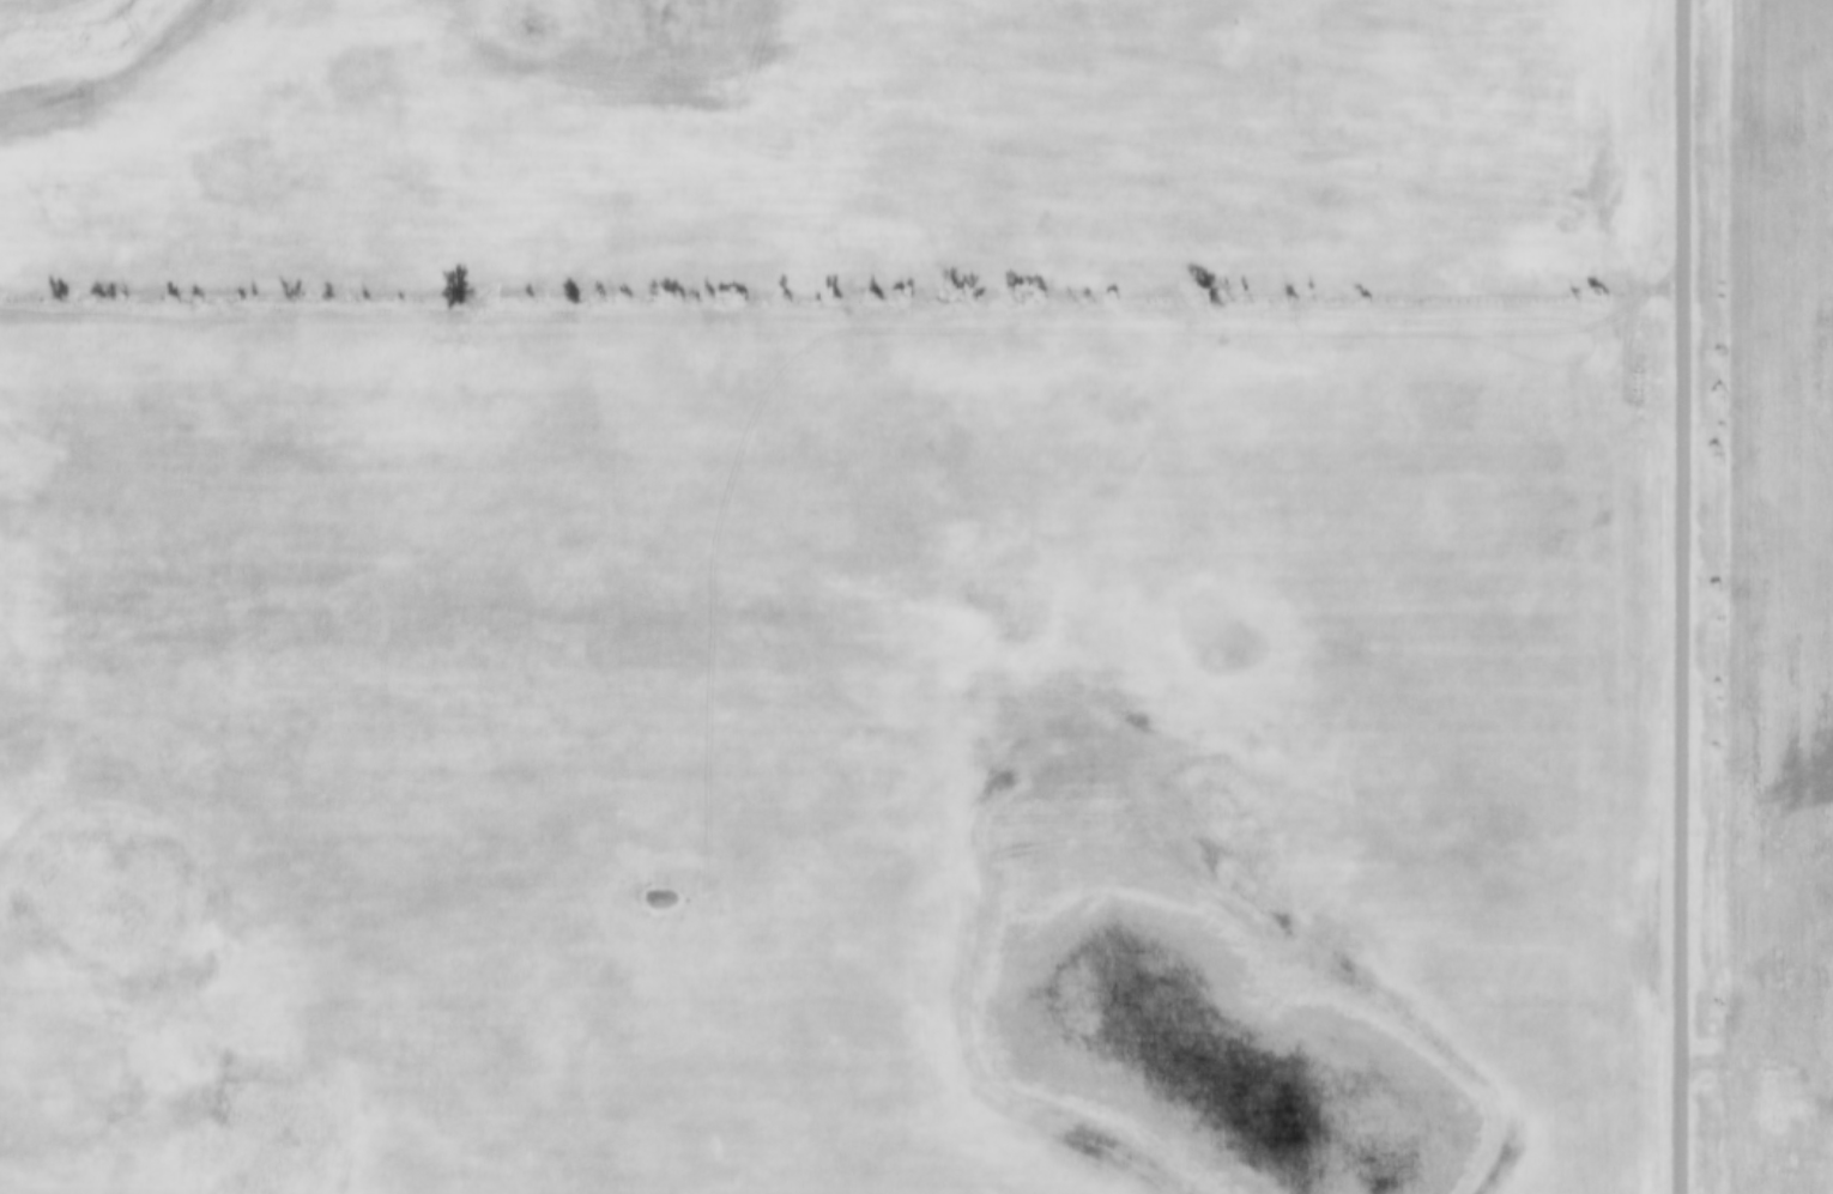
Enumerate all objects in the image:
road: (1686, 596)

